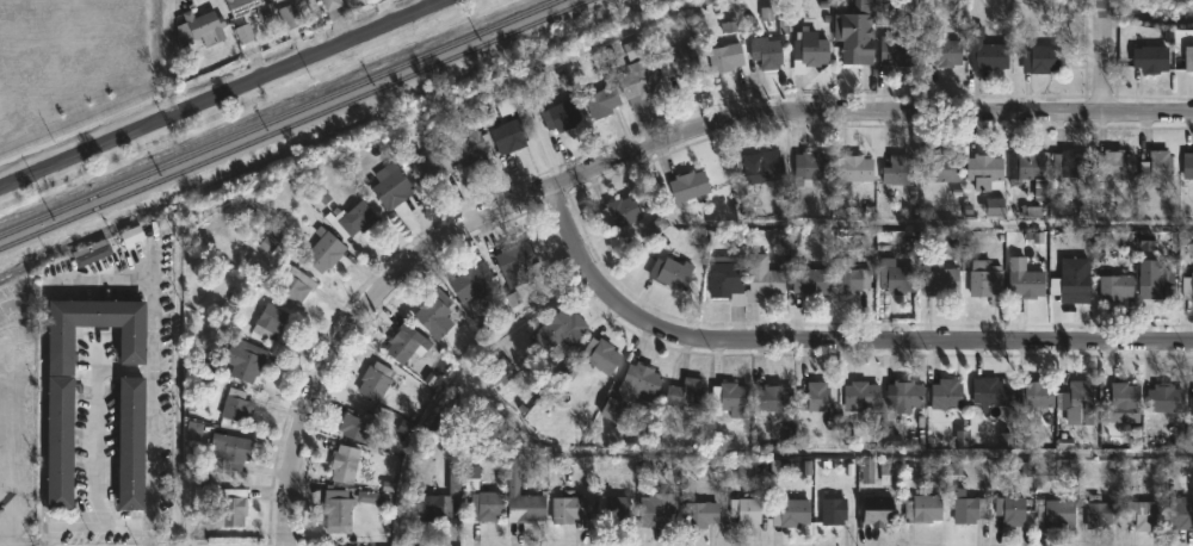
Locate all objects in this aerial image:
building: (274, 0)
building: (279, 1)
building: (329, 4)
building: (241, 6)
building: (290, 18)
building: (204, 26)
building: (857, 33)
building: (635, 50)
building: (810, 50)
building: (901, 50)
building: (765, 52)
building: (944, 52)
building: (985, 52)
road: (1101, 56)
building: (724, 57)
building: (1188, 58)
building: (1041, 60)
building: (1151, 60)
building: (678, 63)
building: (637, 80)
road: (220, 93)
building: (600, 103)
building: (560, 116)
railway: (280, 118)
railway: (293, 124)
building: (509, 135)
building: (469, 143)
road: (631, 154)
building: (1114, 165)
building: (938, 166)
building: (427, 167)
building: (767, 167)
building: (810, 167)
building: (1069, 167)
building: (1155, 167)
building: (1187, 167)
building: (853, 168)
building: (897, 170)
building: (984, 170)
building: (1030, 172)
building: (389, 185)
building: (687, 186)
building: (619, 212)
building: (356, 219)
building: (323, 250)
building: (514, 261)
building: (670, 272)
building: (851, 277)
building: (894, 277)
building: (725, 279)
building: (761, 279)
building: (938, 279)
building: (1024, 280)
building: (987, 281)
building: (1073, 281)
building: (469, 283)
building: (1155, 283)
building: (292, 284)
building: (808, 284)
building: (1114, 287)
building: (1187, 287)
building: (433, 314)
building: (268, 322)
building: (94, 329)
building: (560, 329)
road: (833, 342)
building: (406, 343)
building: (601, 356)
building: (243, 360)
road: (149, 361)
building: (373, 381)
road: (455, 381)
building: (638, 383)
building: (990, 392)
building: (685, 393)
building: (946, 395)
building: (1036, 395)
building: (861, 396)
building: (903, 397)
building: (1121, 397)
building: (774, 398)
building: (730, 399)
building: (816, 399)
building: (1164, 399)
building: (1077, 403)
building: (1192, 405)
building: (235, 407)
road: (42, 410)
building: (356, 424)
building: (58, 443)
building: (129, 443)
building: (229, 451)
road: (6, 452)
road: (812, 452)
building: (344, 464)
building: (520, 496)
building: (439, 500)
building: (486, 507)
building: (878, 507)
building: (230, 508)
building: (336, 508)
building: (964, 508)
building: (922, 509)
building: (567, 510)
building: (612, 510)
building: (1009, 510)
building: (833, 511)
building: (744, 513)
building: (656, 514)
building: (699, 514)
building: (789, 514)
building: (1053, 514)
building: (1100, 514)
building: (1180, 514)
building: (1143, 516)
road: (4, 525)
road: (94, 528)

